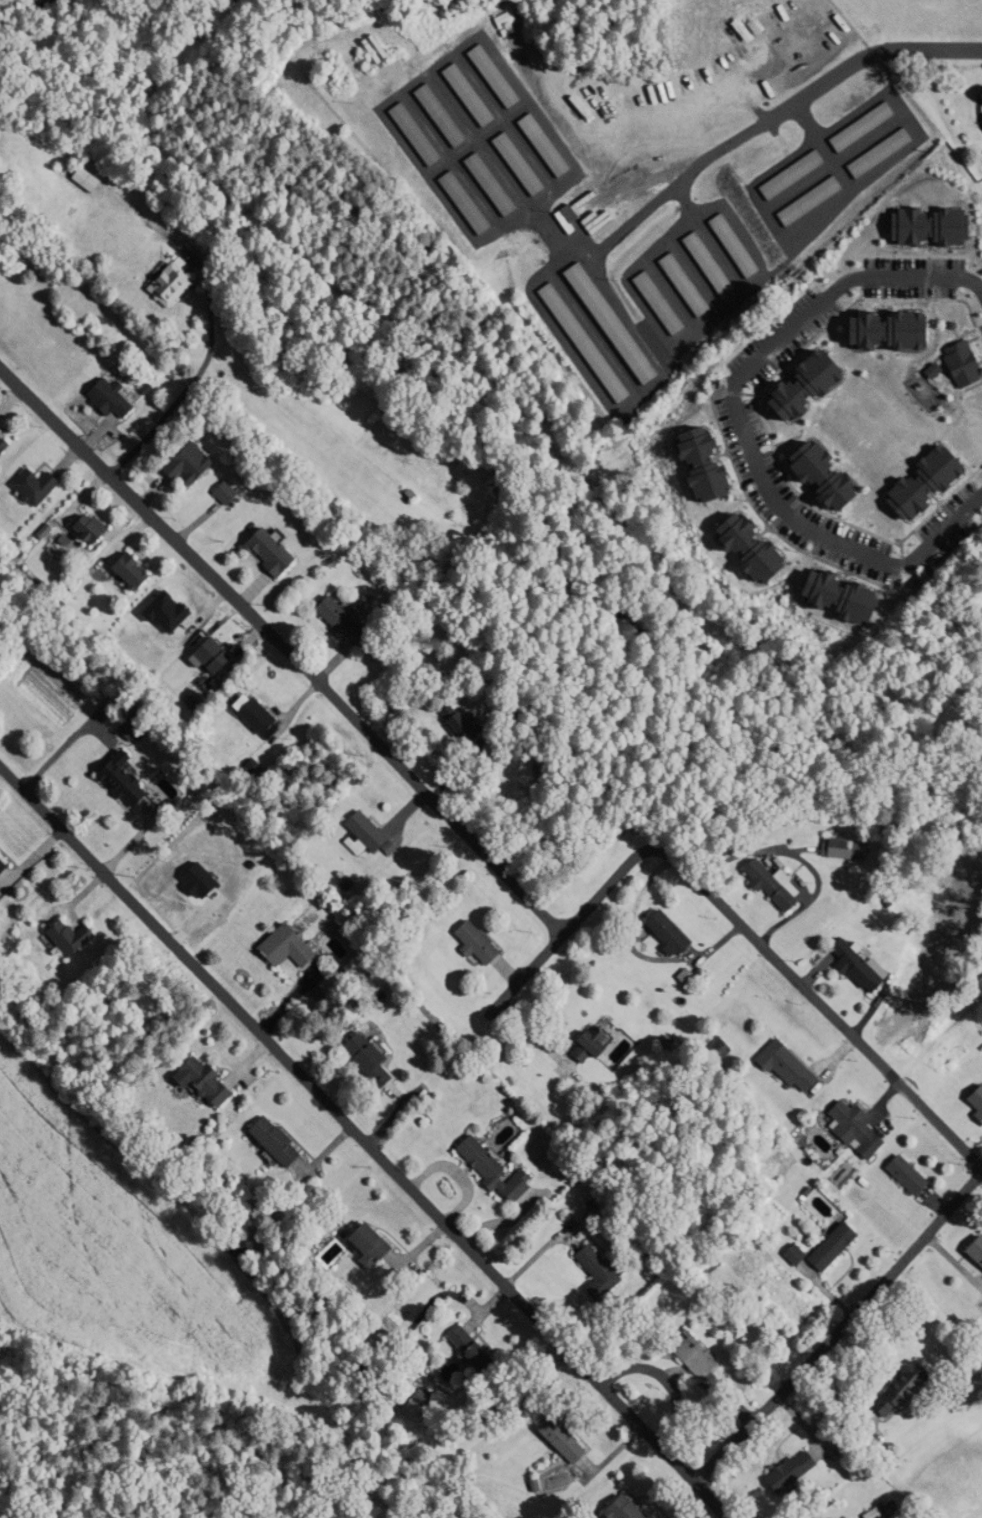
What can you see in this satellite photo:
building: (752, 28)
building: (382, 48)
road: (879, 51)
building: (499, 76)
building: (474, 95)
building: (591, 104)
building: (447, 116)
building: (868, 128)
building: (422, 134)
building: (549, 145)
building: (885, 153)
building: (523, 164)
building: (798, 176)
building: (92, 180)
building: (496, 185)
building: (815, 202)
building: (472, 203)
building: (574, 218)
building: (605, 222)
building: (739, 246)
building: (714, 264)
building: (177, 285)
building: (691, 285)
building: (666, 303)
road: (715, 313)
building: (620, 323)
building: (594, 342)
building: (115, 400)
road: (740, 424)
building: (5, 441)
building: (194, 466)
building: (39, 486)
building: (228, 494)
building: (96, 530)
building: (274, 553)
building: (138, 573)
building: (346, 620)
road: (286, 646)
building: (981, 703)
building: (267, 719)
building: (131, 781)
building: (372, 833)
building: (831, 848)
building: (5, 865)
building: (764, 886)
building: (675, 934)
building: (78, 939)
building: (482, 945)
road: (551, 947)
building: (293, 948)
building: (846, 970)
road: (816, 998)
building: (610, 1046)
building: (710, 1049)
building: (376, 1061)
building: (777, 1066)
building: (212, 1084)
building: (972, 1104)
building: (840, 1123)
road: (364, 1139)
building: (283, 1143)
building: (500, 1173)
building: (900, 1175)
building: (377, 1245)
building: (820, 1247)
building: (972, 1253)
building: (784, 1255)
building: (696, 1264)
building: (605, 1275)
road: (841, 1328)
building: (680, 1355)
building: (888, 1391)
building: (577, 1449)
building: (799, 1470)
building: (633, 1509)
building: (880, 1513)
building: (818, 1516)

